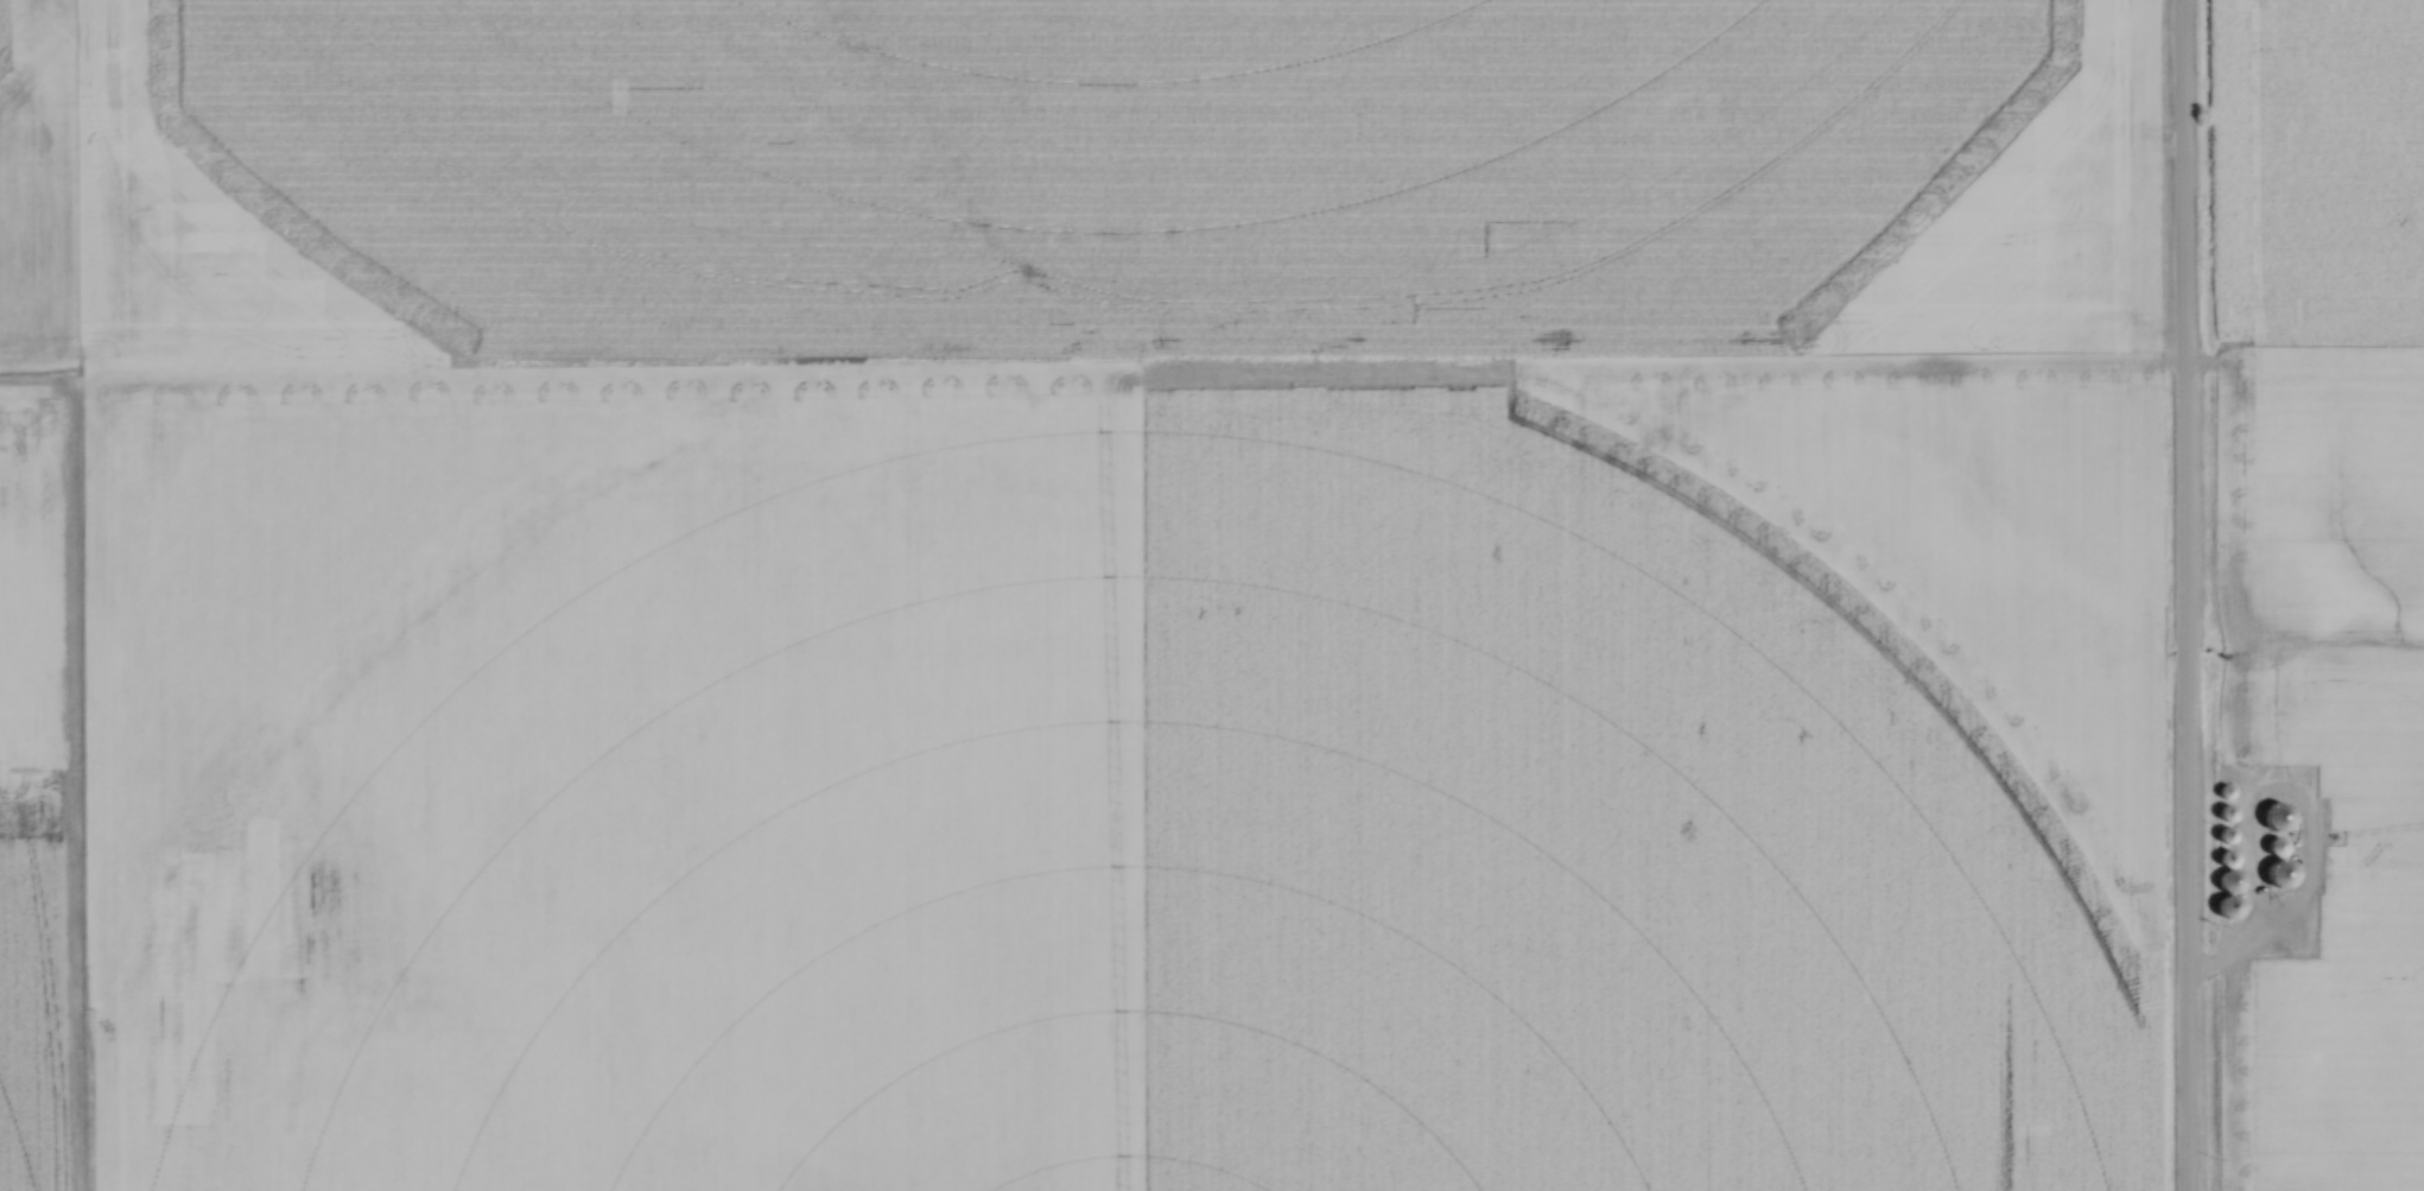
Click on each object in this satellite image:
road: (2182, 595)
building: (2227, 815)
building: (2278, 818)
building: (2277, 847)
building: (2280, 874)
building: (2233, 881)

